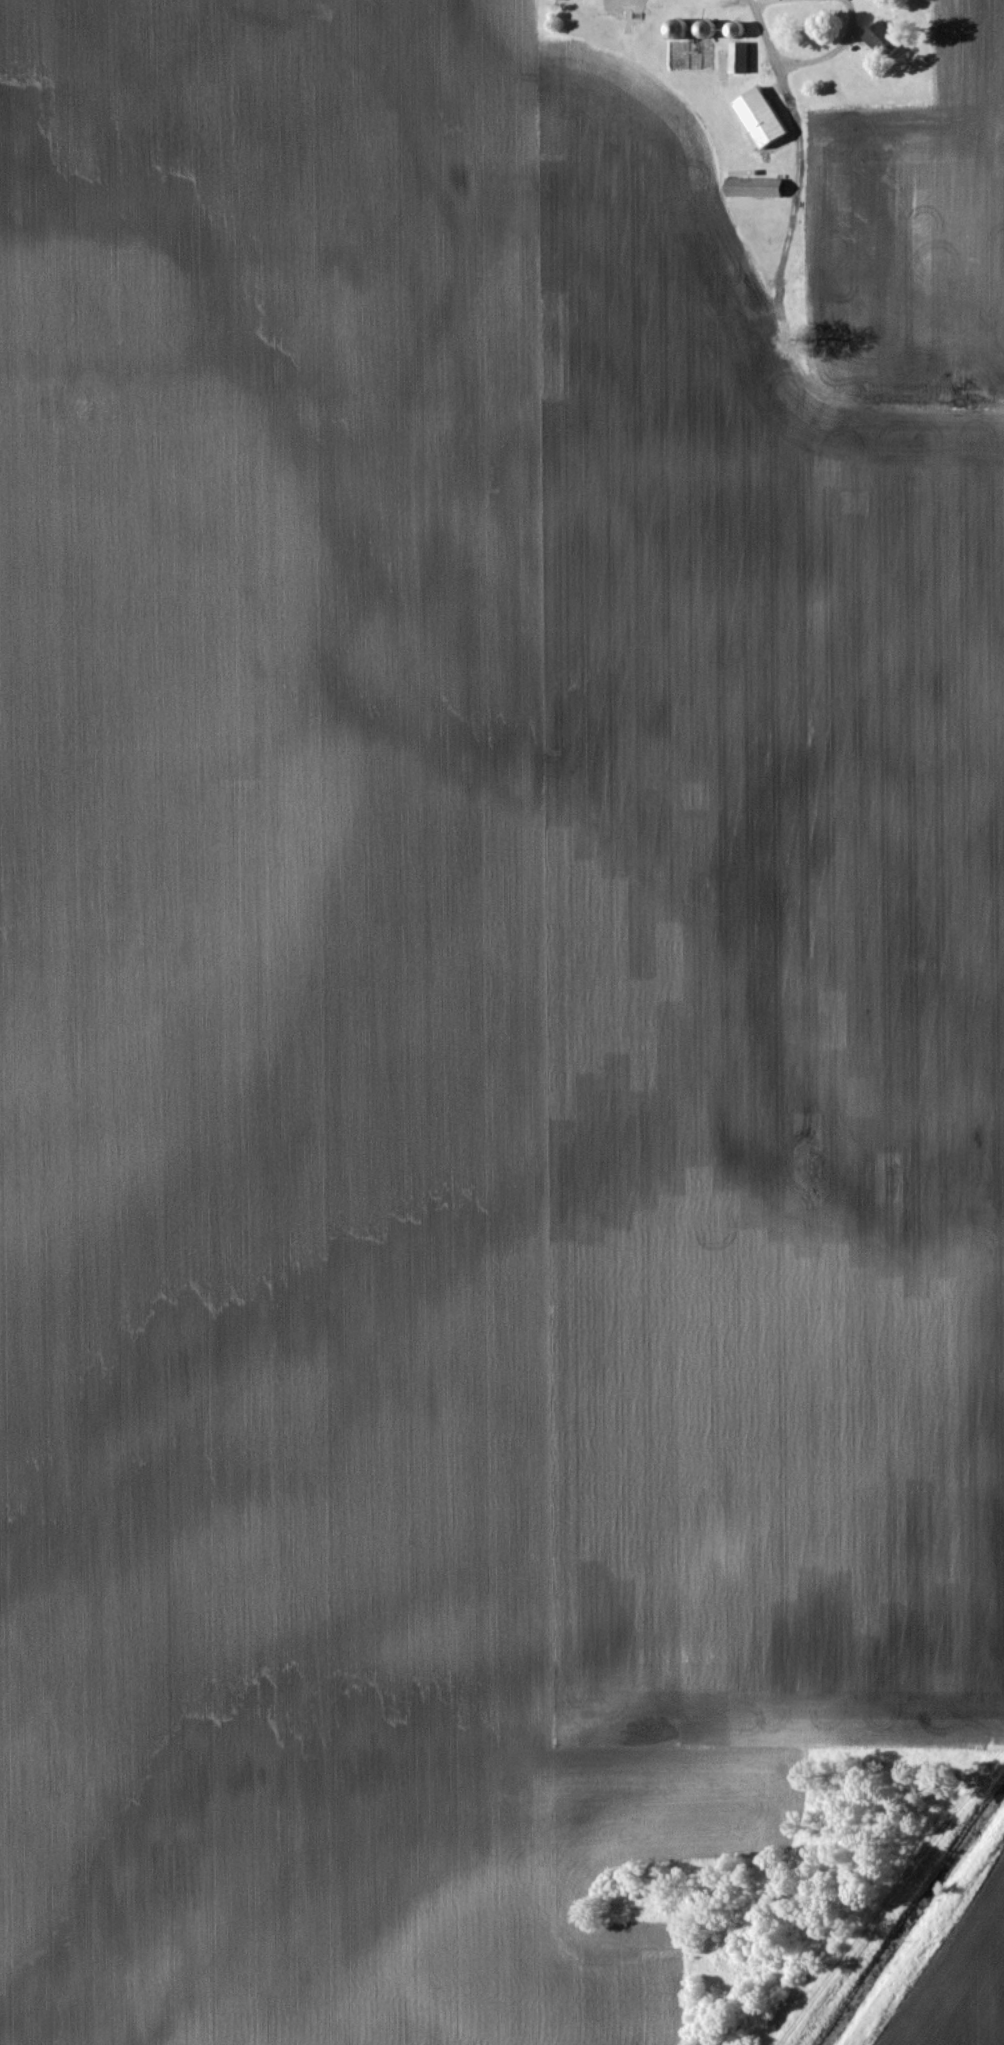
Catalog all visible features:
road: (773, 4)
road: (772, 44)
road: (839, 53)
building: (763, 117)
building: (736, 188)
building: (767, 189)

